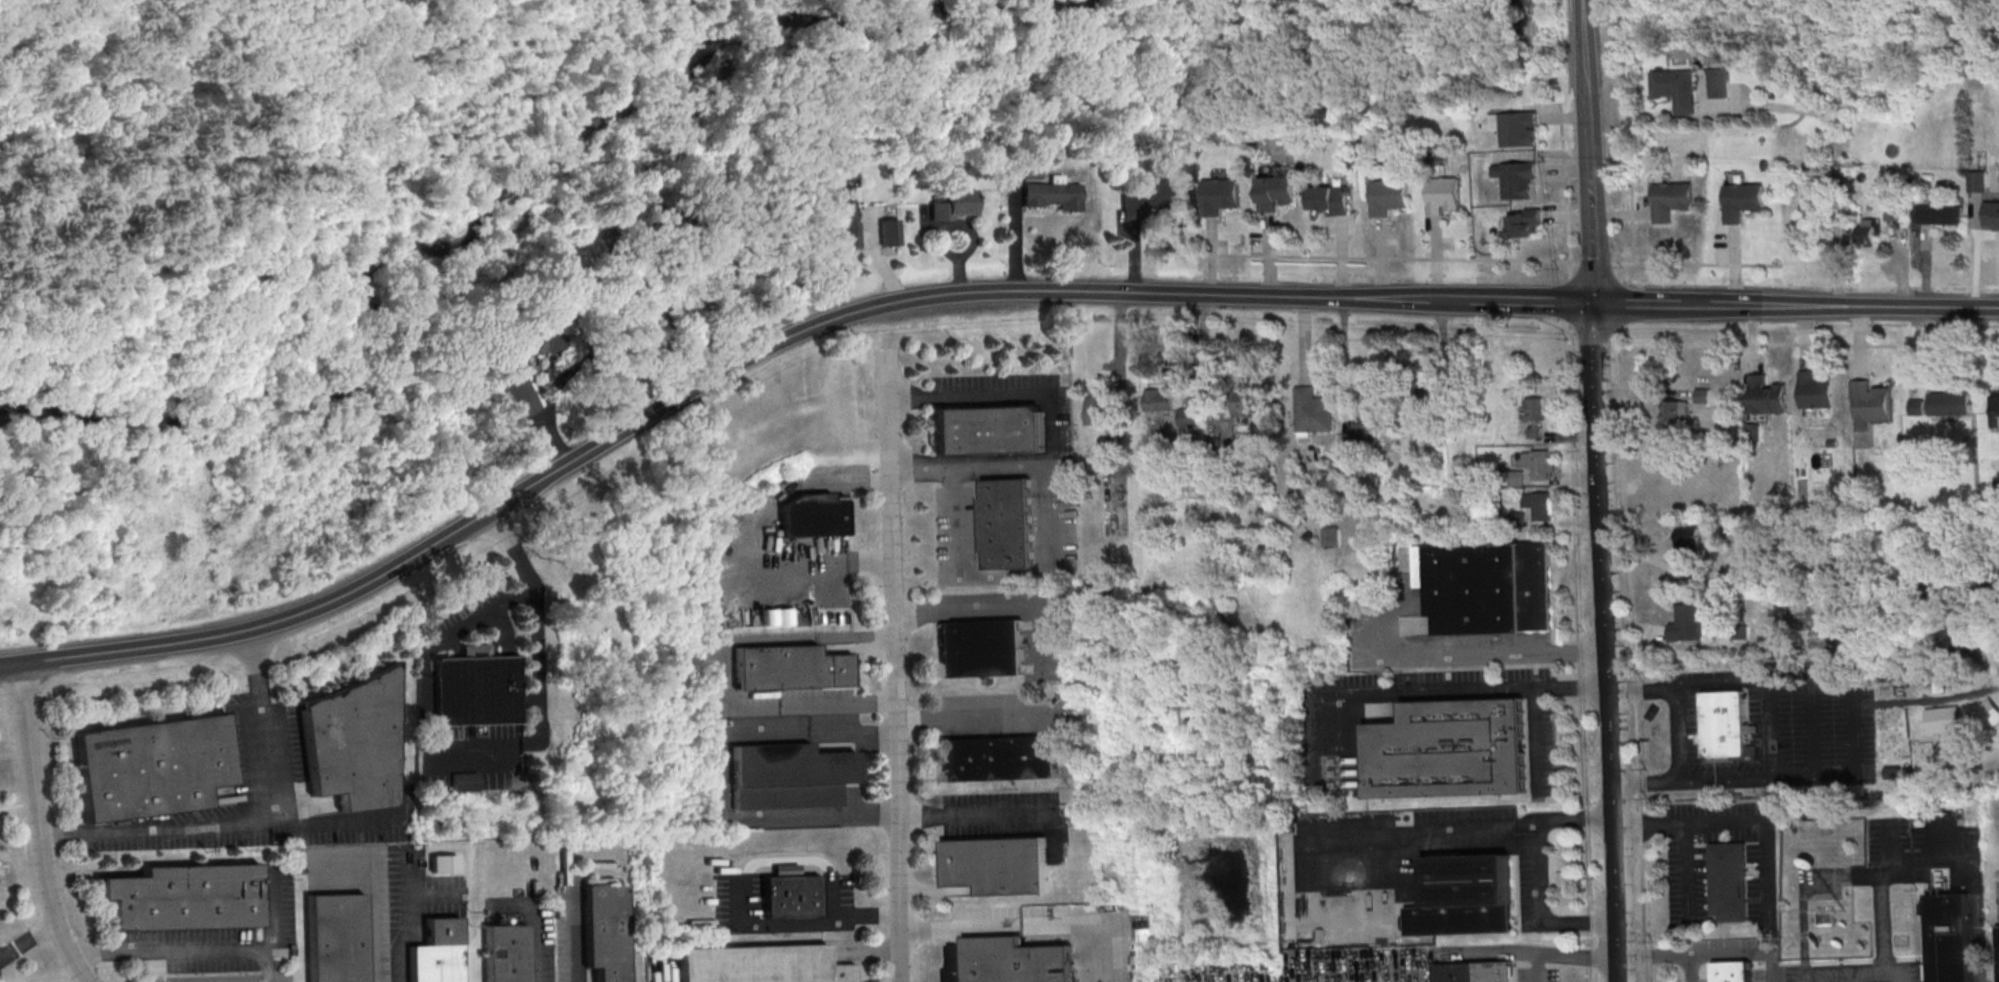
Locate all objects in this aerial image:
road: (827, 6)
road: (1346, 12)
road: (1634, 14)
road: (823, 24)
road: (1091, 39)
road: (819, 42)
park: (311, 56)
building: (1718, 84)
road: (1587, 86)
road: (958, 89)
building: (1676, 89)
road: (804, 107)
building: (1519, 129)
road: (1838, 145)
building: (1030, 175)
building: (1517, 179)
building: (1978, 182)
road: (1566, 183)
building: (1276, 193)
building: (1445, 195)
building: (1221, 196)
building: (1052, 197)
building: (1389, 197)
building: (1153, 199)
building: (1332, 199)
building: (1670, 200)
building: (1742, 202)
building: (952, 205)
building: (1891, 210)
road: (239, 213)
building: (1941, 215)
building: (1991, 215)
building: (837, 217)
building: (1526, 224)
building: (669, 227)
building: (1866, 232)
building: (887, 233)
road: (1591, 238)
road: (1014, 239)
road: (873, 256)
road: (1133, 256)
road: (1490, 260)
road: (759, 280)
building: (706, 290)
road: (1547, 303)
traffic signals: (1592, 304)
road: (1637, 304)
road: (1760, 306)
road: (1918, 307)
building: (538, 336)
road: (1305, 341)
road: (730, 366)
road: (1595, 368)
park: (626, 382)
building: (1816, 391)
building: (519, 394)
building: (1428, 394)
building: (1705, 395)
building: (1769, 396)
building: (1245, 401)
building: (1158, 402)
building: (1949, 403)
building: (1869, 404)
building: (1916, 408)
building: (1100, 409)
building: (1675, 411)
building: (1314, 412)
building: (1994, 412)
road: (552, 413)
building: (1450, 416)
building: (1537, 416)
building: (1189, 419)
building: (1368, 426)
building: (987, 430)
building: (1753, 431)
building: (1109, 446)
building: (1542, 466)
road: (973, 470)
building: (1517, 479)
building: (1543, 507)
road: (1055, 510)
building: (812, 516)
building: (1518, 520)
building: (1006, 523)
building: (1332, 537)
building: (1688, 538)
road: (816, 567)
building: (1109, 584)
building: (1486, 588)
road: (1004, 609)
road: (481, 616)
road: (534, 619)
building: (1687, 623)
building: (1738, 633)
road: (860, 638)
building: (982, 648)
road: (1486, 651)
road: (1579, 655)
road: (727, 659)
road: (1633, 662)
road: (253, 664)
road: (8, 666)
road: (900, 666)
building: (790, 667)
building: (476, 690)
road: (1470, 691)
road: (845, 706)
road: (1608, 707)
road: (975, 716)
building: (1945, 719)
building: (1723, 725)
parking lot: (1801, 732)
road: (856, 733)
road: (1678, 734)
road: (1538, 739)
building: (351, 742)
building: (1448, 749)
building: (1000, 758)
road: (260, 763)
building: (150, 766)
building: (789, 776)
building: (463, 781)
road: (724, 791)
road: (871, 814)
road: (980, 815)
road: (1574, 818)
road: (1735, 821)
road: (37, 827)
road: (221, 827)
building: (443, 863)
building: (998, 865)
road: (1684, 867)
road: (1540, 871)
road: (1888, 873)
building: (1728, 882)
building: (1463, 895)
building: (183, 896)
building: (792, 896)
road: (370, 898)
road: (267, 915)
building: (1825, 920)
road: (1579, 922)
road: (806, 924)
road: (1057, 924)
road: (960, 928)
road: (535, 929)
building: (604, 930)
parking lot: (223, 935)
building: (334, 937)
building: (1947, 938)
road: (576, 939)
road: (28, 941)
road: (186, 950)
building: (1997, 951)
building: (436, 952)
building: (504, 953)
road: (1744, 954)
road: (1653, 955)
road: (1564, 956)
building: (1007, 961)
road: (400, 962)
building: (763, 965)
road: (666, 966)
parking lot: (664, 968)
road: (1690, 968)
building: (1732, 971)
building: (1475, 972)

